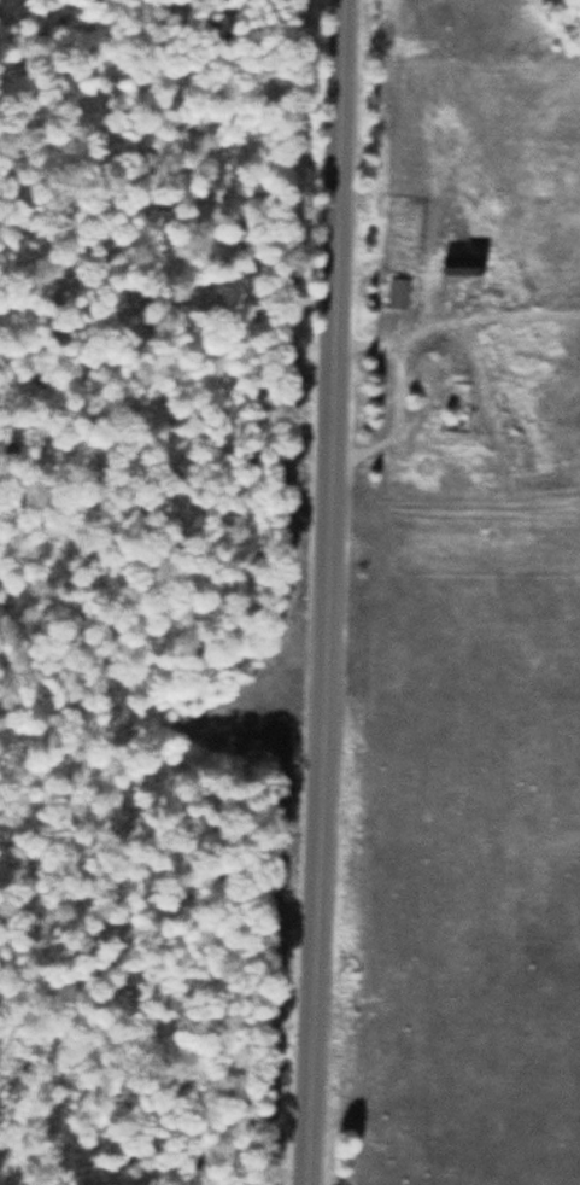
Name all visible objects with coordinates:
building: (458, 273)
building: (400, 293)
building: (447, 443)
road: (334, 592)

